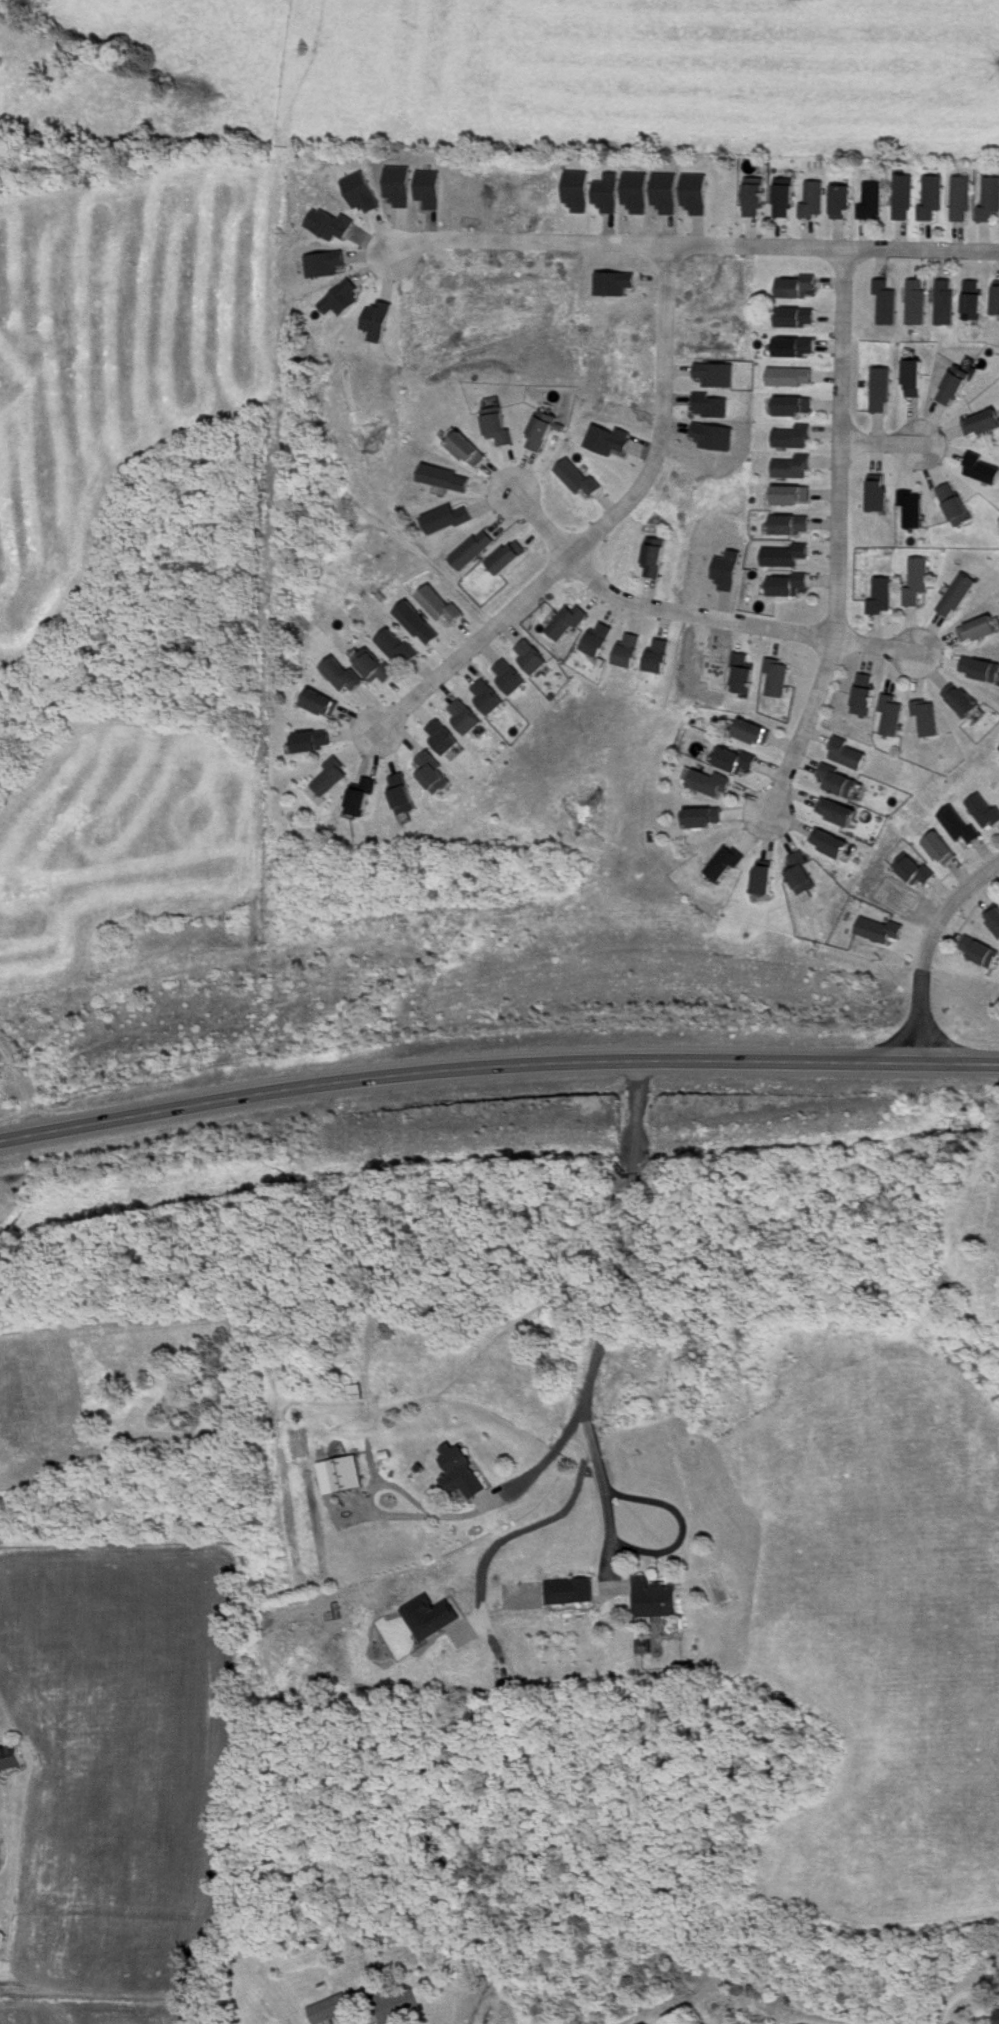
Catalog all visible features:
building: (932, 197)
building: (904, 198)
building: (753, 199)
building: (962, 199)
building: (989, 199)
building: (785, 200)
building: (815, 201)
building: (873, 201)
building: (843, 202)
road: (693, 243)
building: (795, 288)
building: (997, 298)
building: (920, 302)
building: (948, 302)
building: (978, 302)
building: (889, 303)
building: (796, 318)
building: (795, 348)
building: (793, 377)
building: (917, 379)
building: (883, 390)
building: (796, 407)
building: (983, 425)
building: (501, 430)
building: (541, 434)
building: (797, 438)
road: (880, 442)
building: (470, 449)
building: (796, 468)
building: (980, 468)
building: (576, 477)
building: (448, 478)
building: (793, 496)
building: (881, 496)
building: (957, 504)
building: (913, 511)
building: (450, 521)
road: (538, 522)
road: (599, 526)
building: (793, 526)
road: (836, 540)
building: (473, 550)
building: (788, 557)
building: (507, 558)
building: (656, 558)
road: (591, 578)
building: (915, 581)
building: (790, 586)
building: (956, 595)
building: (880, 596)
building: (439, 605)
road: (655, 608)
road: (717, 619)
building: (566, 621)
building: (420, 625)
building: (979, 629)
road: (786, 632)
building: (598, 639)
road: (873, 645)
building: (400, 649)
building: (630, 651)
building: (661, 656)
building: (530, 657)
building: (981, 669)
building: (345, 676)
building: (507, 677)
building: (748, 677)
building: (780, 679)
building: (863, 695)
building: (485, 697)
building: (967, 702)
building: (323, 704)
building: (465, 717)
building: (892, 717)
building: (930, 720)
building: (756, 733)
building: (444, 738)
building: (317, 743)
building: (847, 754)
building: (742, 763)
building: (438, 774)
building: (337, 778)
building: (839, 782)
building: (714, 785)
building: (409, 795)
building: (366, 800)
building: (838, 814)
building: (706, 820)
building: (958, 826)
building: (832, 844)
building: (940, 849)
building: (728, 865)
building: (911, 870)
building: (805, 876)
building: (769, 880)
building: (994, 920)
building: (876, 930)
road: (926, 951)
building: (978, 951)
road: (961, 1065)
road: (459, 1068)
road: (624, 1244)
building: (355, 1393)
building: (460, 1473)
building: (345, 1474)
road: (604, 1501)
road: (444, 1516)
road: (518, 1525)
building: (582, 1591)
building: (654, 1599)
building: (9, 1758)
building: (397, 2008)
building: (328, 2010)
building: (996, 2017)
road: (979, 2022)

